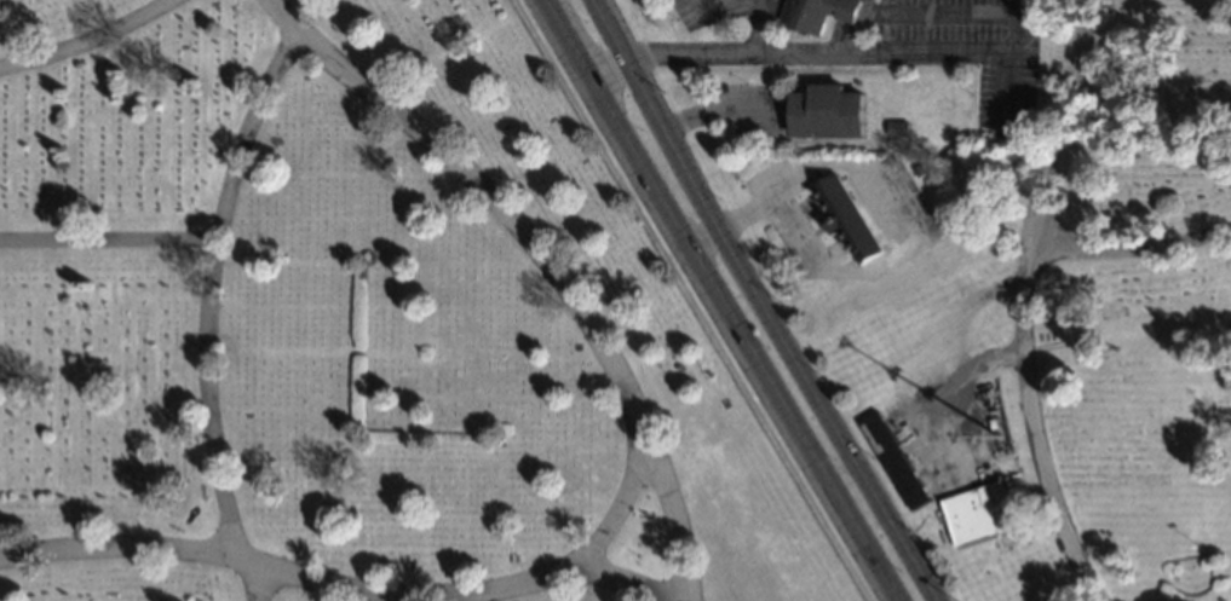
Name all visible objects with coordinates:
parking lot: (713, 0)
road: (759, 4)
road: (711, 12)
parking lot: (688, 13)
building: (817, 13)
road: (950, 13)
parking lot: (953, 22)
road: (758, 27)
road: (857, 28)
road: (87, 41)
road: (835, 56)
building: (827, 112)
building: (898, 129)
building: (918, 171)
road: (887, 189)
building: (846, 219)
road: (105, 241)
road: (1132, 250)
road: (539, 256)
road: (690, 300)
road: (711, 300)
road: (760, 300)
road: (1018, 300)
road: (203, 312)
park: (350, 325)
park: (1076, 336)
building: (424, 354)
building: (991, 424)
building: (893, 462)
building: (979, 513)
road: (621, 579)
road: (359, 591)

